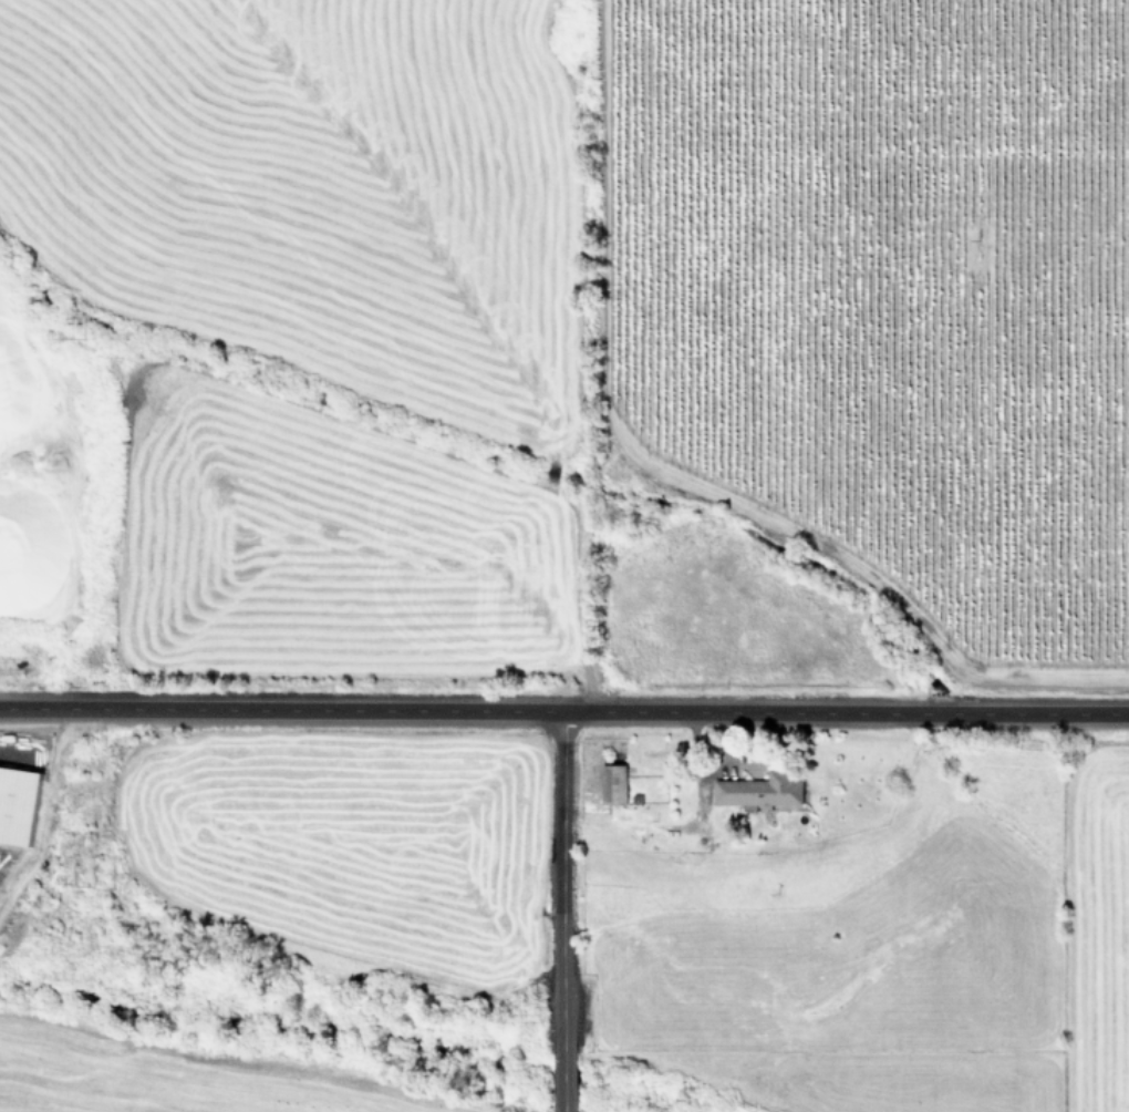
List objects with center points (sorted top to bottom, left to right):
power tower: (71, 333)
crop: (564, 556)
road: (563, 712)
building: (610, 784)
building: (757, 791)
building: (14, 806)
road: (561, 883)
power tower: (83, 886)
road: (562, 1081)
road: (562, 1111)

